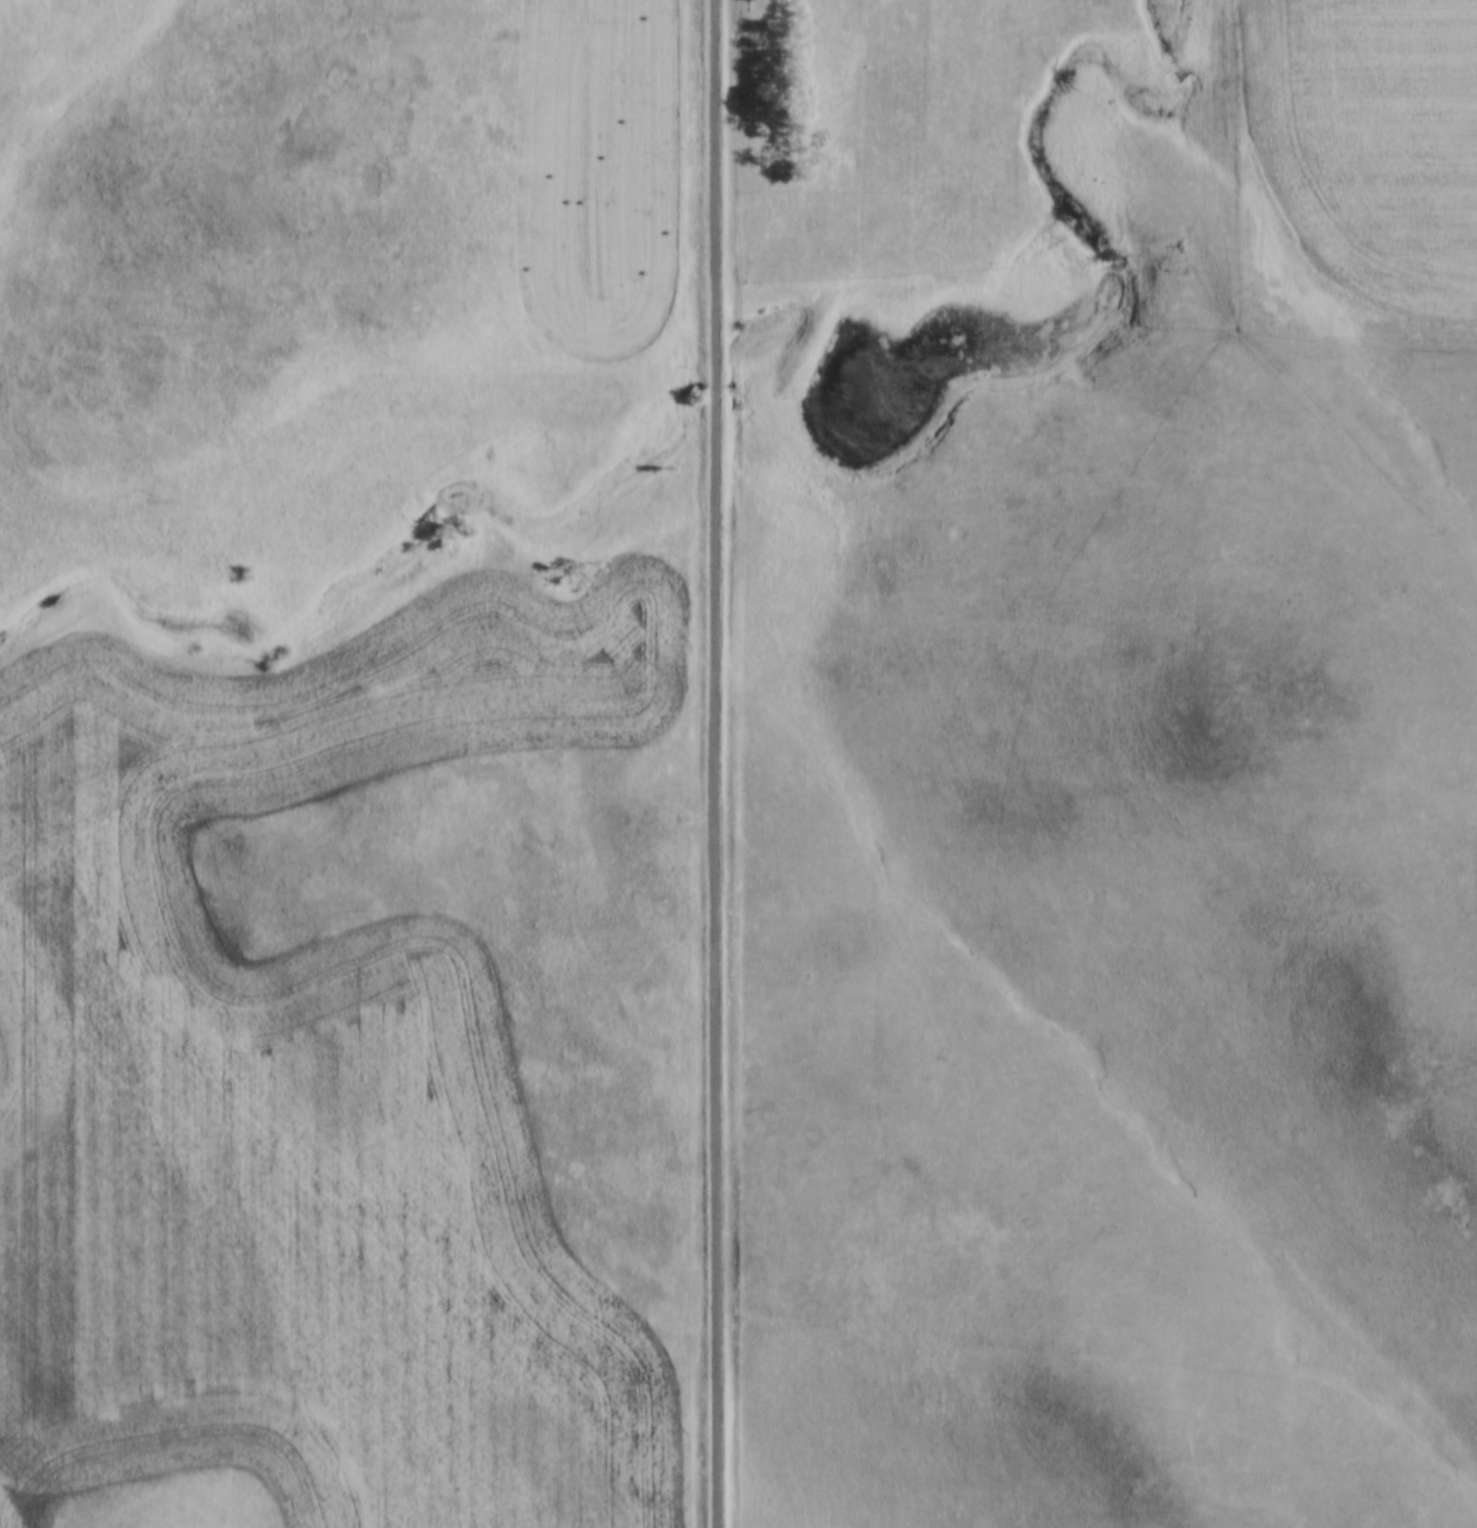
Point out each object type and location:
road: (708, 764)
road: (43, 846)

